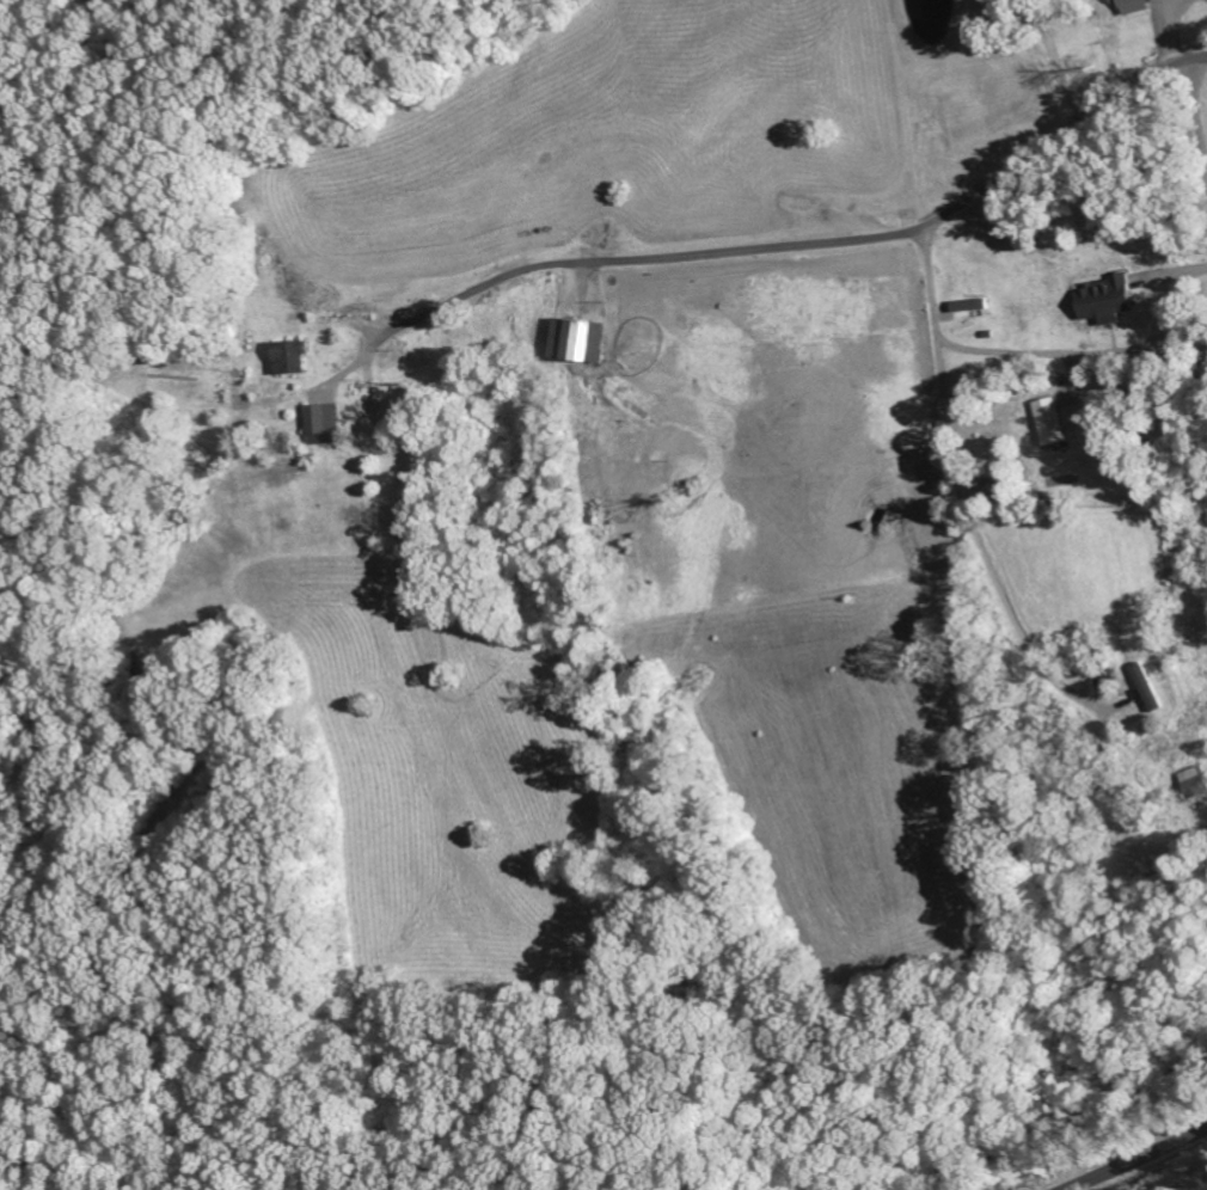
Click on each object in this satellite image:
building: (1131, 0)
road: (820, 244)
building: (1114, 299)
building: (586, 339)
building: (295, 357)
building: (1058, 422)
building: (325, 423)
road: (958, 471)
building: (1154, 687)
building: (1200, 779)
road: (1139, 1160)

